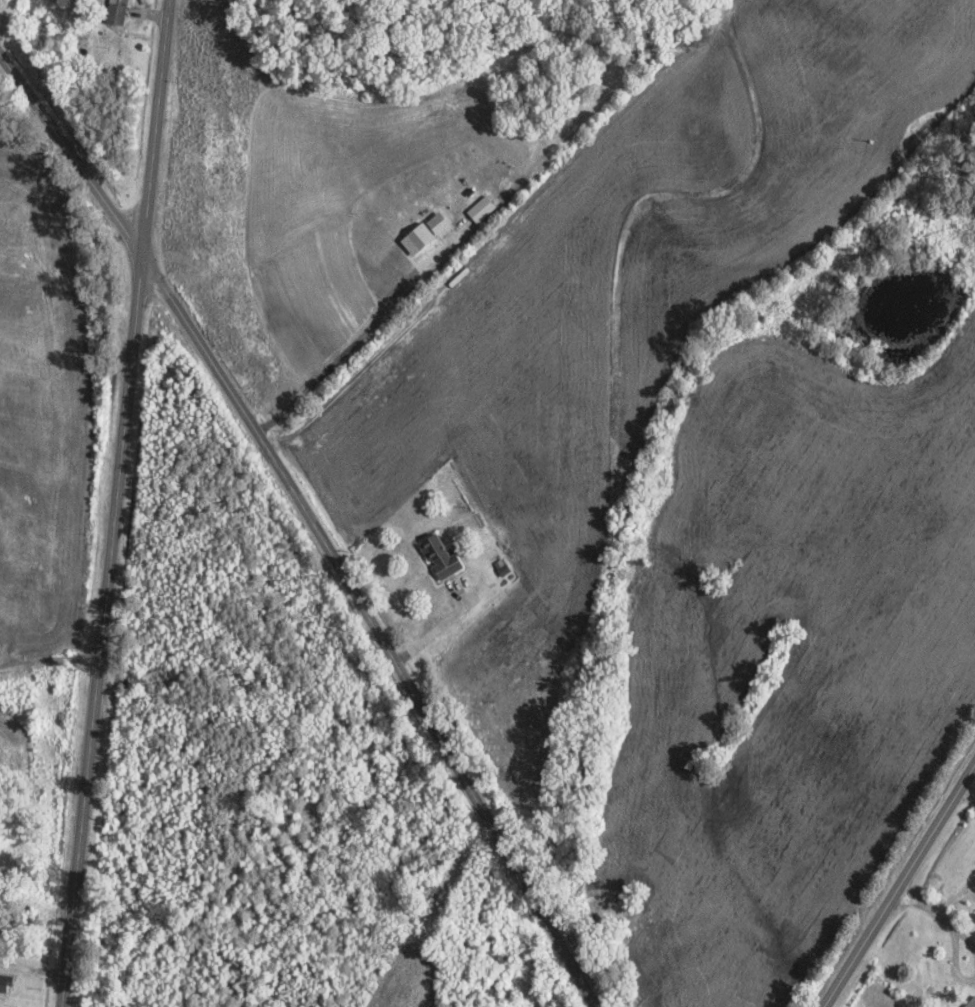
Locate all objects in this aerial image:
building: (119, 12)
road: (73, 152)
road: (118, 503)
building: (438, 556)
road: (380, 627)
road: (51, 649)
road: (897, 886)
building: (5, 985)
building: (971, 1002)

